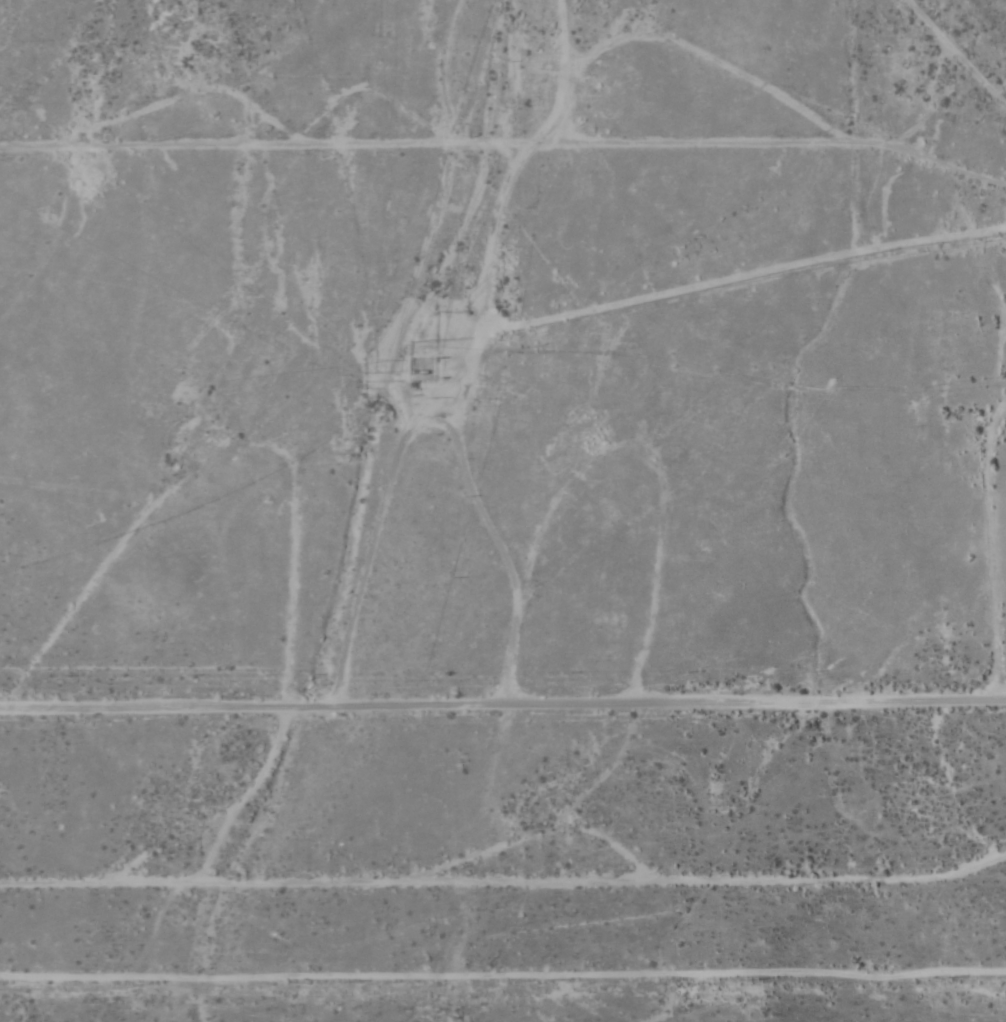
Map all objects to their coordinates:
road: (503, 734)

